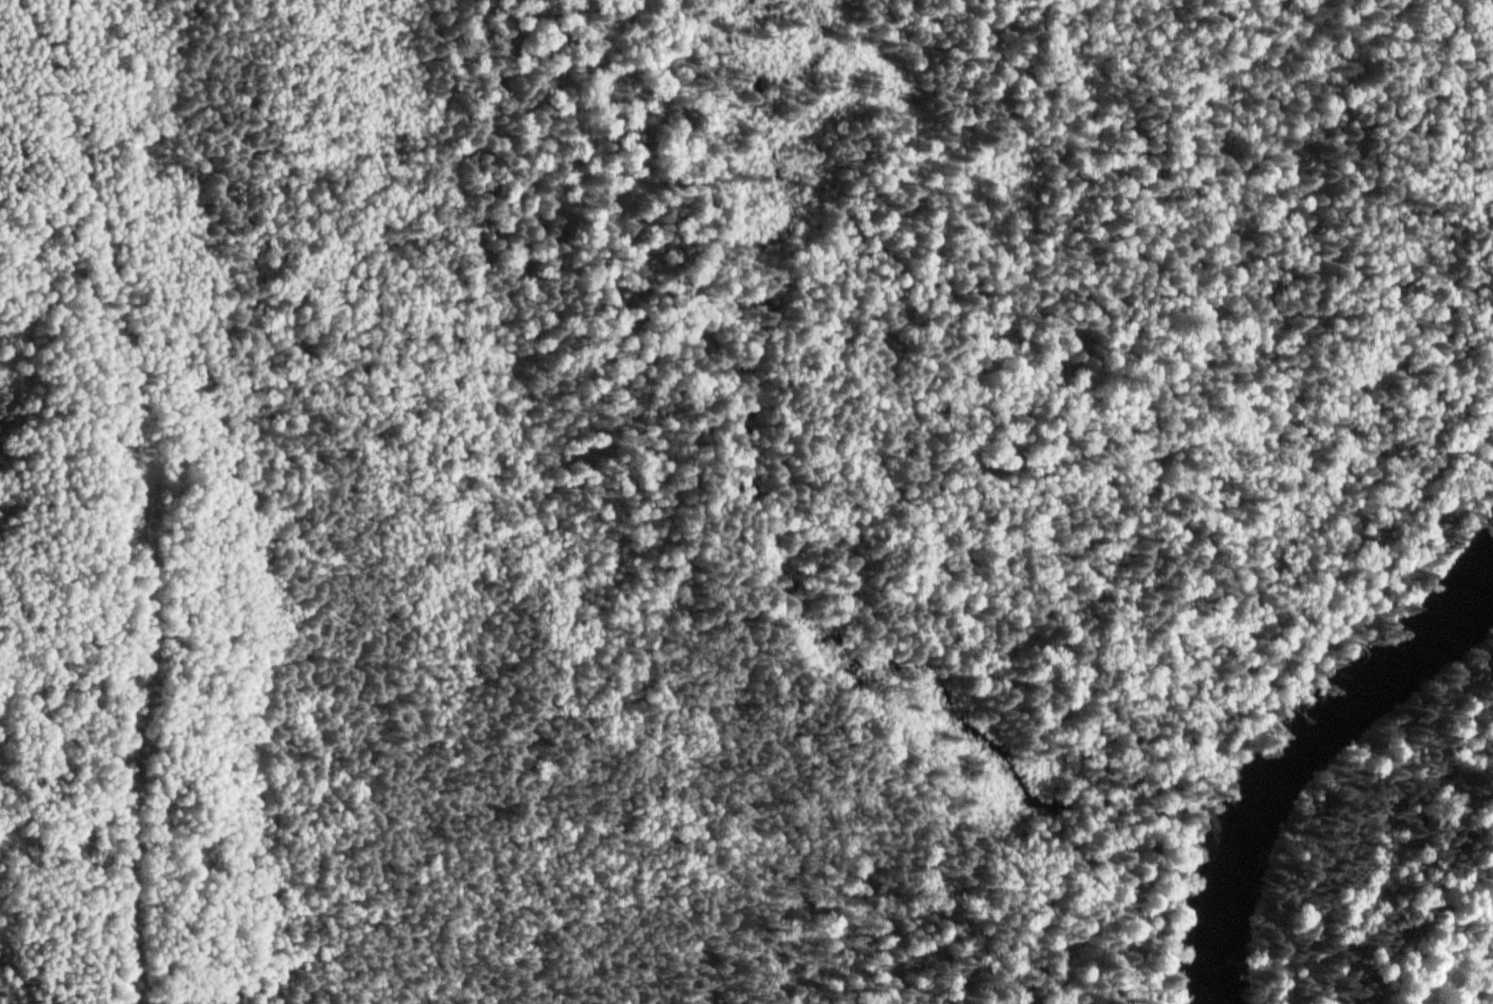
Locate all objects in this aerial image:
river: (1353, 709)
river: (1224, 936)

